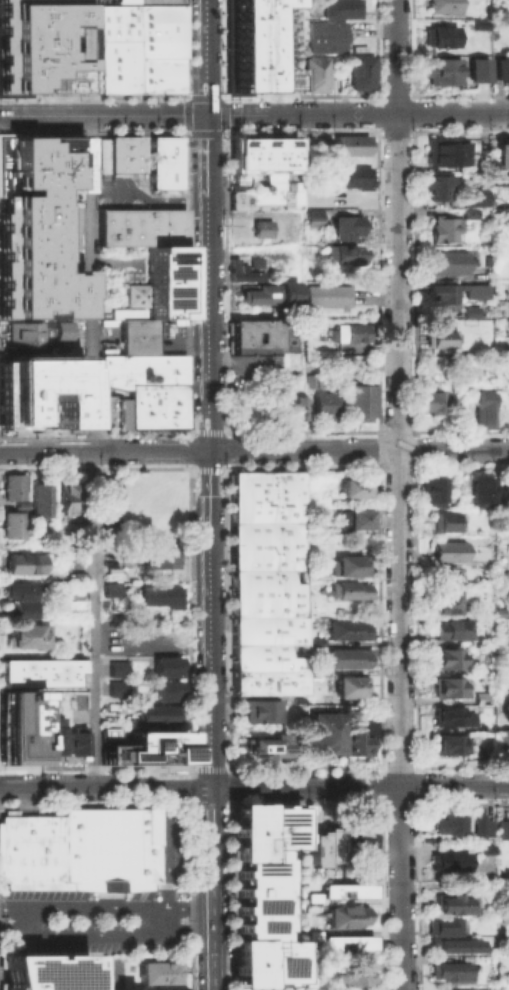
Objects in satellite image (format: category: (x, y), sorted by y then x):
building: (159, 1)
building: (446, 6)
building: (341, 9)
building: (160, 12)
building: (132, 24)
building: (328, 37)
building: (441, 37)
road: (205, 39)
building: (249, 43)
building: (40, 46)
building: (161, 47)
building: (116, 65)
building: (160, 65)
building: (501, 69)
road: (396, 70)
building: (479, 70)
building: (442, 72)
building: (362, 73)
building: (315, 74)
building: (278, 78)
building: (160, 83)
road: (206, 97)
road: (183, 99)
road: (197, 99)
road: (212, 99)
road: (223, 99)
road: (183, 110)
road: (103, 115)
traffic signals: (206, 115)
road: (357, 115)
road: (223, 117)
road: (183, 124)
road: (92, 133)
road: (197, 136)
road: (212, 136)
road: (223, 136)
road: (183, 137)
road: (184, 139)
building: (351, 145)
building: (164, 148)
building: (239, 152)
building: (272, 152)
building: (119, 153)
building: (447, 153)
building: (165, 175)
building: (354, 178)
building: (501, 179)
building: (278, 188)
building: (437, 188)
road: (148, 197)
building: (240, 197)
building: (477, 197)
building: (470, 213)
building: (314, 218)
building: (165, 225)
building: (122, 226)
building: (36, 227)
building: (343, 227)
building: (444, 229)
building: (262, 230)
building: (343, 254)
building: (161, 260)
road: (115, 263)
building: (445, 263)
road: (207, 264)
building: (244, 268)
building: (175, 269)
road: (224, 285)
road: (187, 287)
building: (474, 290)
building: (261, 293)
building: (441, 293)
building: (327, 296)
building: (166, 299)
building: (295, 311)
building: (470, 311)
building: (61, 328)
building: (24, 333)
building: (353, 333)
building: (138, 335)
building: (255, 337)
road: (5, 339)
road: (46, 339)
building: (440, 339)
road: (24, 349)
road: (244, 360)
building: (171, 367)
building: (312, 382)
building: (132, 386)
building: (171, 390)
building: (41, 392)
road: (92, 393)
building: (357, 399)
building: (430, 402)
building: (321, 407)
building: (294, 408)
building: (481, 410)
building: (171, 412)
road: (396, 430)
road: (461, 430)
road: (303, 431)
road: (412, 431)
road: (95, 432)
road: (208, 433)
road: (378, 433)
road: (192, 434)
road: (208, 434)
road: (225, 434)
road: (190, 437)
road: (413, 442)
road: (378, 443)
road: (189, 445)
road: (103, 451)
road: (358, 451)
road: (225, 453)
road: (378, 456)
road: (414, 457)
road: (189, 458)
road: (95, 467)
road: (378, 467)
road: (415, 467)
road: (462, 467)
road: (390, 468)
road: (404, 468)
road: (189, 471)
road: (201, 472)
road: (214, 472)
road: (224, 472)
building: (250, 483)
building: (14, 487)
building: (351, 487)
building: (433, 489)
building: (479, 492)
building: (108, 493)
building: (65, 495)
building: (266, 495)
building: (294, 495)
building: (41, 500)
building: (504, 501)
building: (254, 512)
building: (355, 520)
building: (444, 522)
building: (13, 525)
building: (254, 529)
building: (294, 538)
building: (254, 546)
building: (448, 551)
building: (159, 557)
building: (294, 559)
building: (254, 561)
building: (27, 564)
building: (349, 564)
road: (398, 565)
building: (285, 575)
building: (254, 577)
building: (447, 577)
building: (111, 582)
building: (295, 589)
building: (20, 590)
building: (155, 590)
building: (348, 591)
building: (255, 593)
road: (209, 600)
building: (295, 602)
building: (446, 604)
building: (255, 608)
building: (20, 610)
building: (295, 611)
building: (110, 624)
building: (347, 628)
building: (452, 630)
building: (295, 632)
building: (28, 636)
building: (316, 640)
building: (159, 643)
building: (255, 645)
building: (345, 656)
building: (447, 656)
building: (296, 663)
building: (164, 665)
building: (115, 667)
building: (313, 668)
building: (39, 672)
building: (296, 683)
building: (257, 684)
building: (116, 686)
building: (351, 688)
building: (450, 688)
building: (165, 690)
building: (261, 709)
building: (158, 713)
building: (454, 717)
building: (369, 727)
building: (19, 729)
building: (324, 731)
building: (109, 733)
building: (54, 736)
building: (77, 743)
building: (355, 743)
building: (503, 743)
building: (266, 745)
building: (447, 745)
building: (147, 747)
road: (210, 769)
road: (359, 786)
road: (104, 787)
building: (245, 816)
building: (482, 823)
road: (211, 825)
building: (451, 825)
building: (503, 829)
building: (317, 847)
building: (360, 847)
building: (80, 849)
building: (245, 854)
building: (449, 859)
road: (168, 860)
building: (507, 875)
building: (347, 886)
building: (314, 895)
building: (271, 904)
building: (455, 904)
road: (106, 905)
building: (345, 914)
building: (246, 916)
road: (212, 927)
building: (444, 927)
road: (103, 933)
building: (314, 934)
building: (348, 938)
building: (460, 947)
building: (245, 950)
building: (45, 971)
building: (157, 971)
building: (450, 973)
road: (93, 977)
building: (355, 978)
building: (315, 985)

